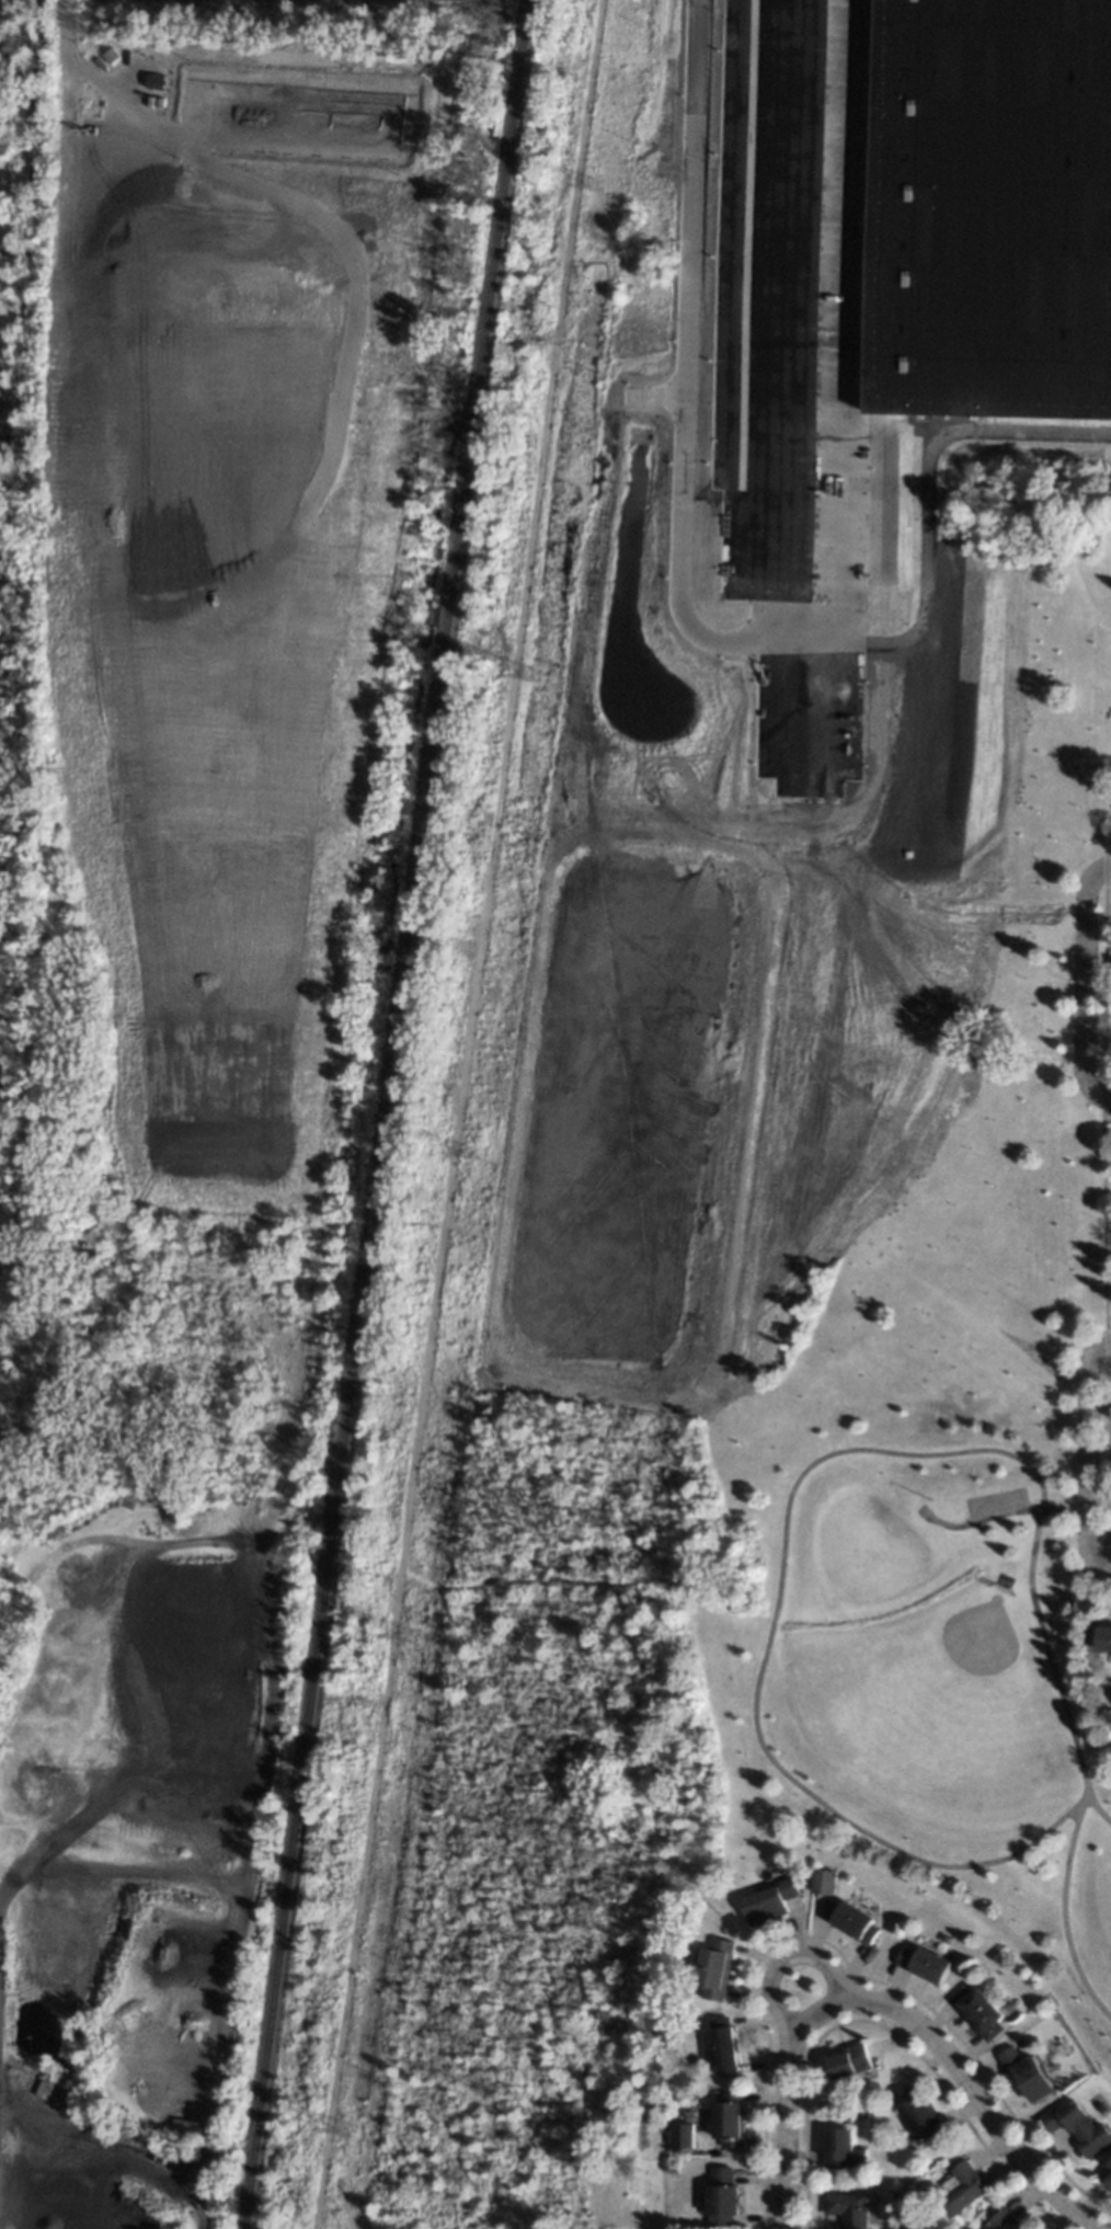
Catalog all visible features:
building: (993, 209)
road: (815, 321)
road: (990, 434)
road: (682, 534)
road: (1085, 974)
road: (1103, 1098)
railway: (388, 1114)
road: (1103, 1205)
park: (811, 1207)
road: (1101, 1342)
road: (1087, 1456)
parking lot: (994, 1500)
road: (1096, 1511)
road: (999, 1514)
road: (1101, 1571)
building: (1104, 1637)
park: (973, 1650)
road: (87, 1740)
road: (805, 1791)
road: (1095, 1806)
building: (823, 1881)
building: (769, 1900)
road: (1064, 1914)
building: (852, 1919)
building: (996, 1953)
road: (786, 1961)
building: (925, 1962)
building: (717, 1967)
building: (980, 2010)
building: (1021, 2042)
building: (724, 2044)
building: (849, 2059)
building: (1028, 2072)
road: (782, 2103)
road: (967, 2103)
building: (917, 2112)
building: (690, 2114)
building: (861, 2114)
building: (731, 2118)
building: (1078, 2125)
building: (684, 2141)
building: (839, 2146)
road: (115, 2153)
building: (675, 2161)
building: (1106, 2173)
building: (962, 2187)
building: (724, 2191)
building: (849, 2208)
building: (1004, 2220)
building: (966, 2228)

